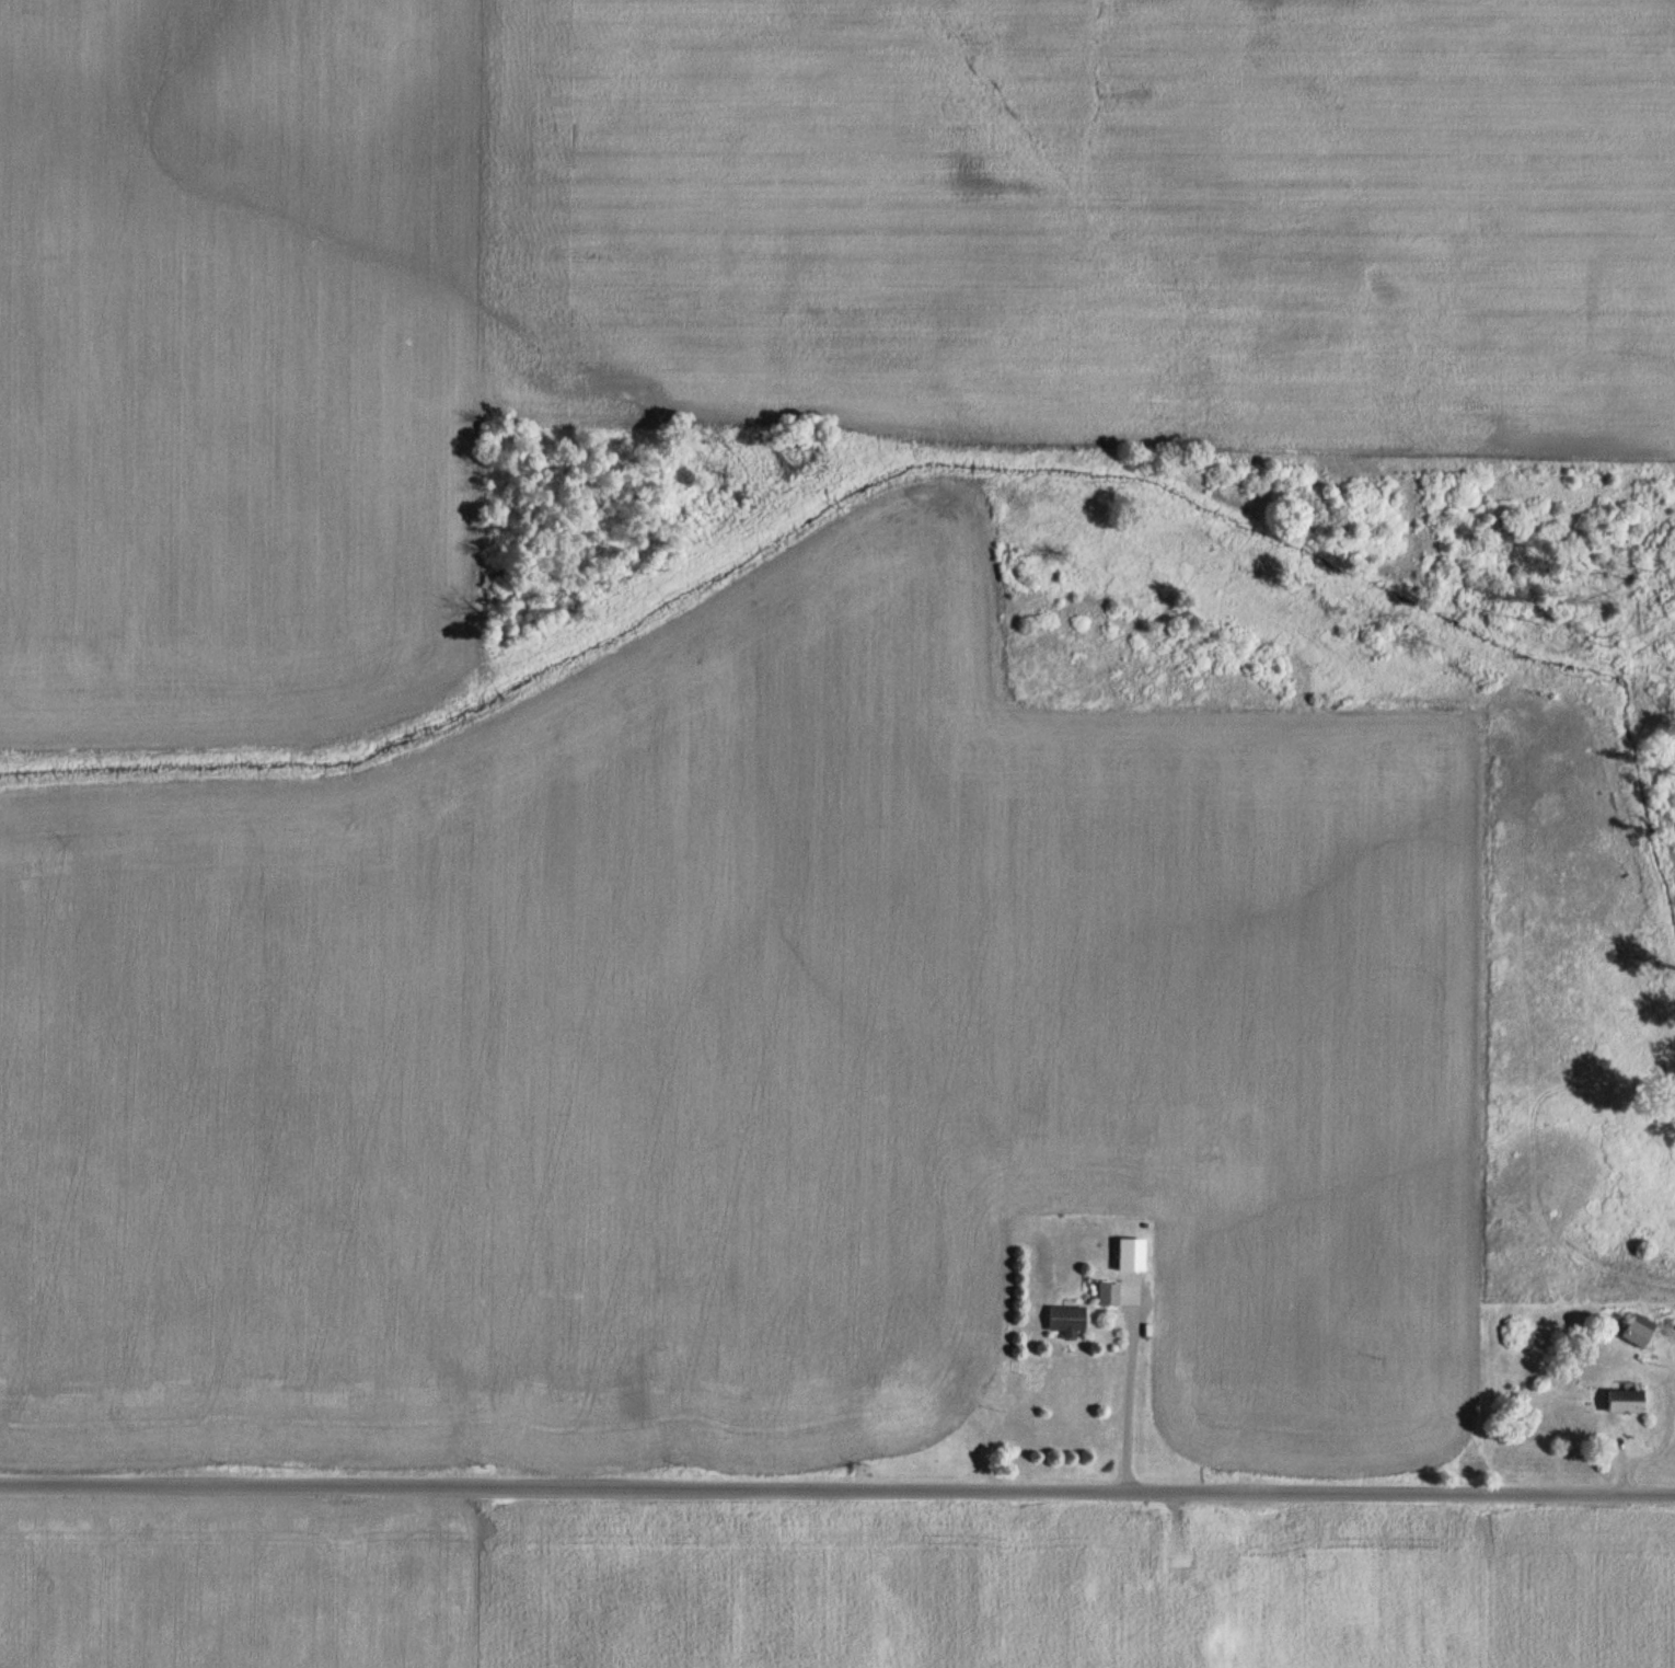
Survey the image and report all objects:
building: (1120, 1293)
building: (1070, 1319)
building: (1642, 1334)
road: (1129, 1399)
building: (1629, 1401)
road: (838, 1485)
building: (1150, 1540)
building: (1226, 1557)
building: (1225, 1650)

